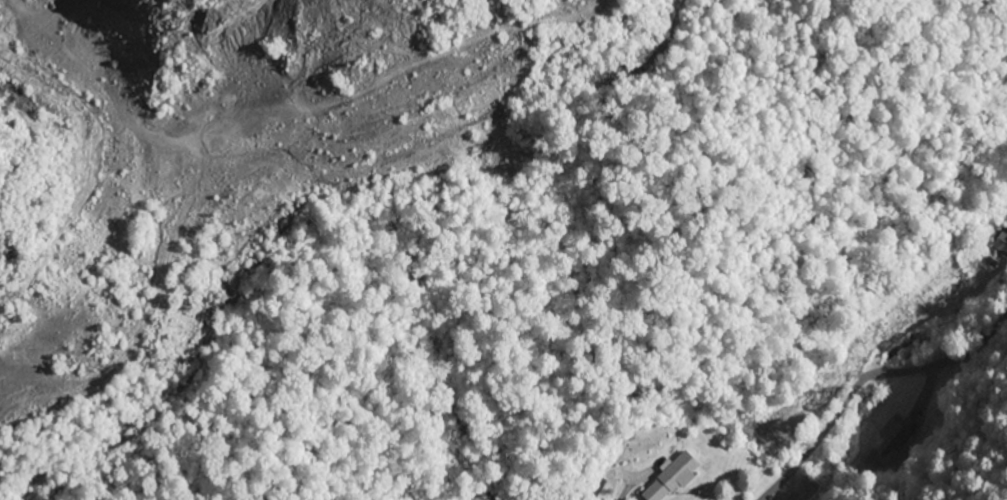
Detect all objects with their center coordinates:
road: (955, 237)
building: (1001, 242)
road: (865, 377)
building: (890, 437)
building: (669, 479)

